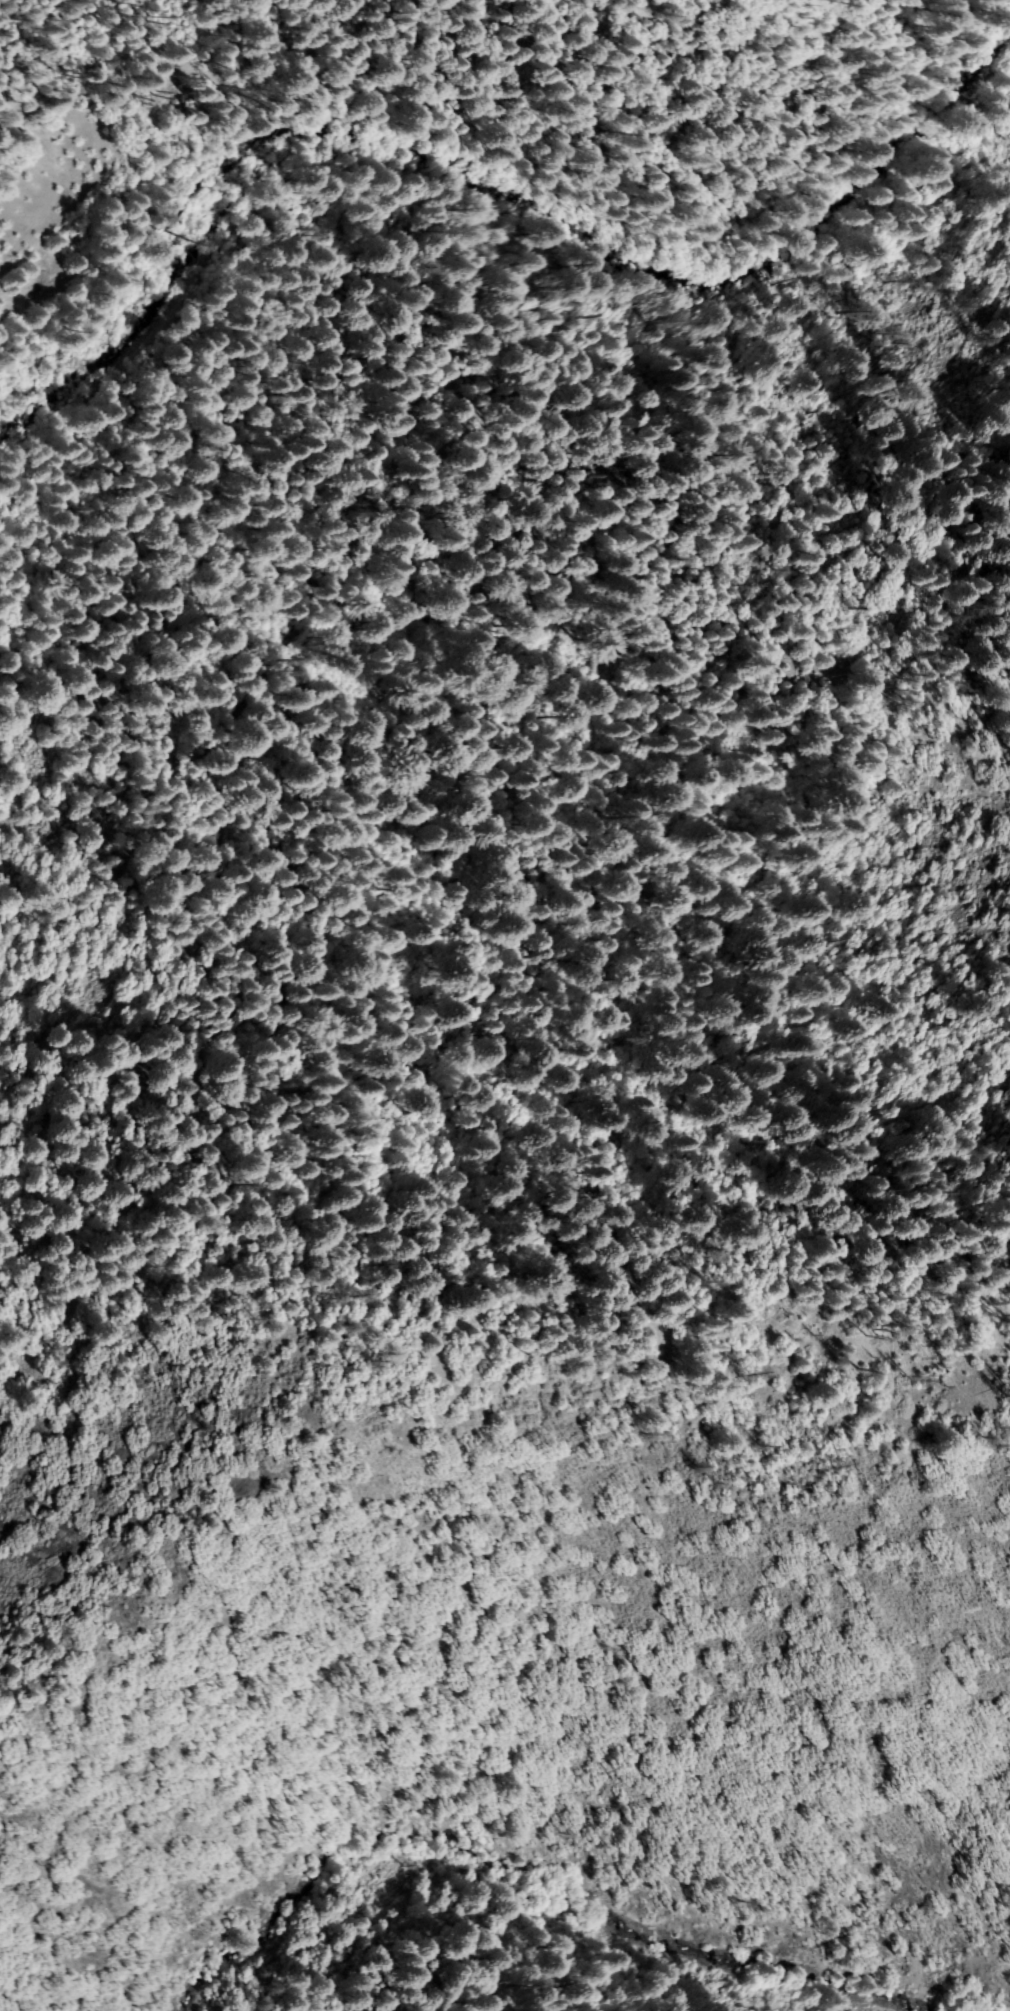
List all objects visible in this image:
river: (519, 175)

